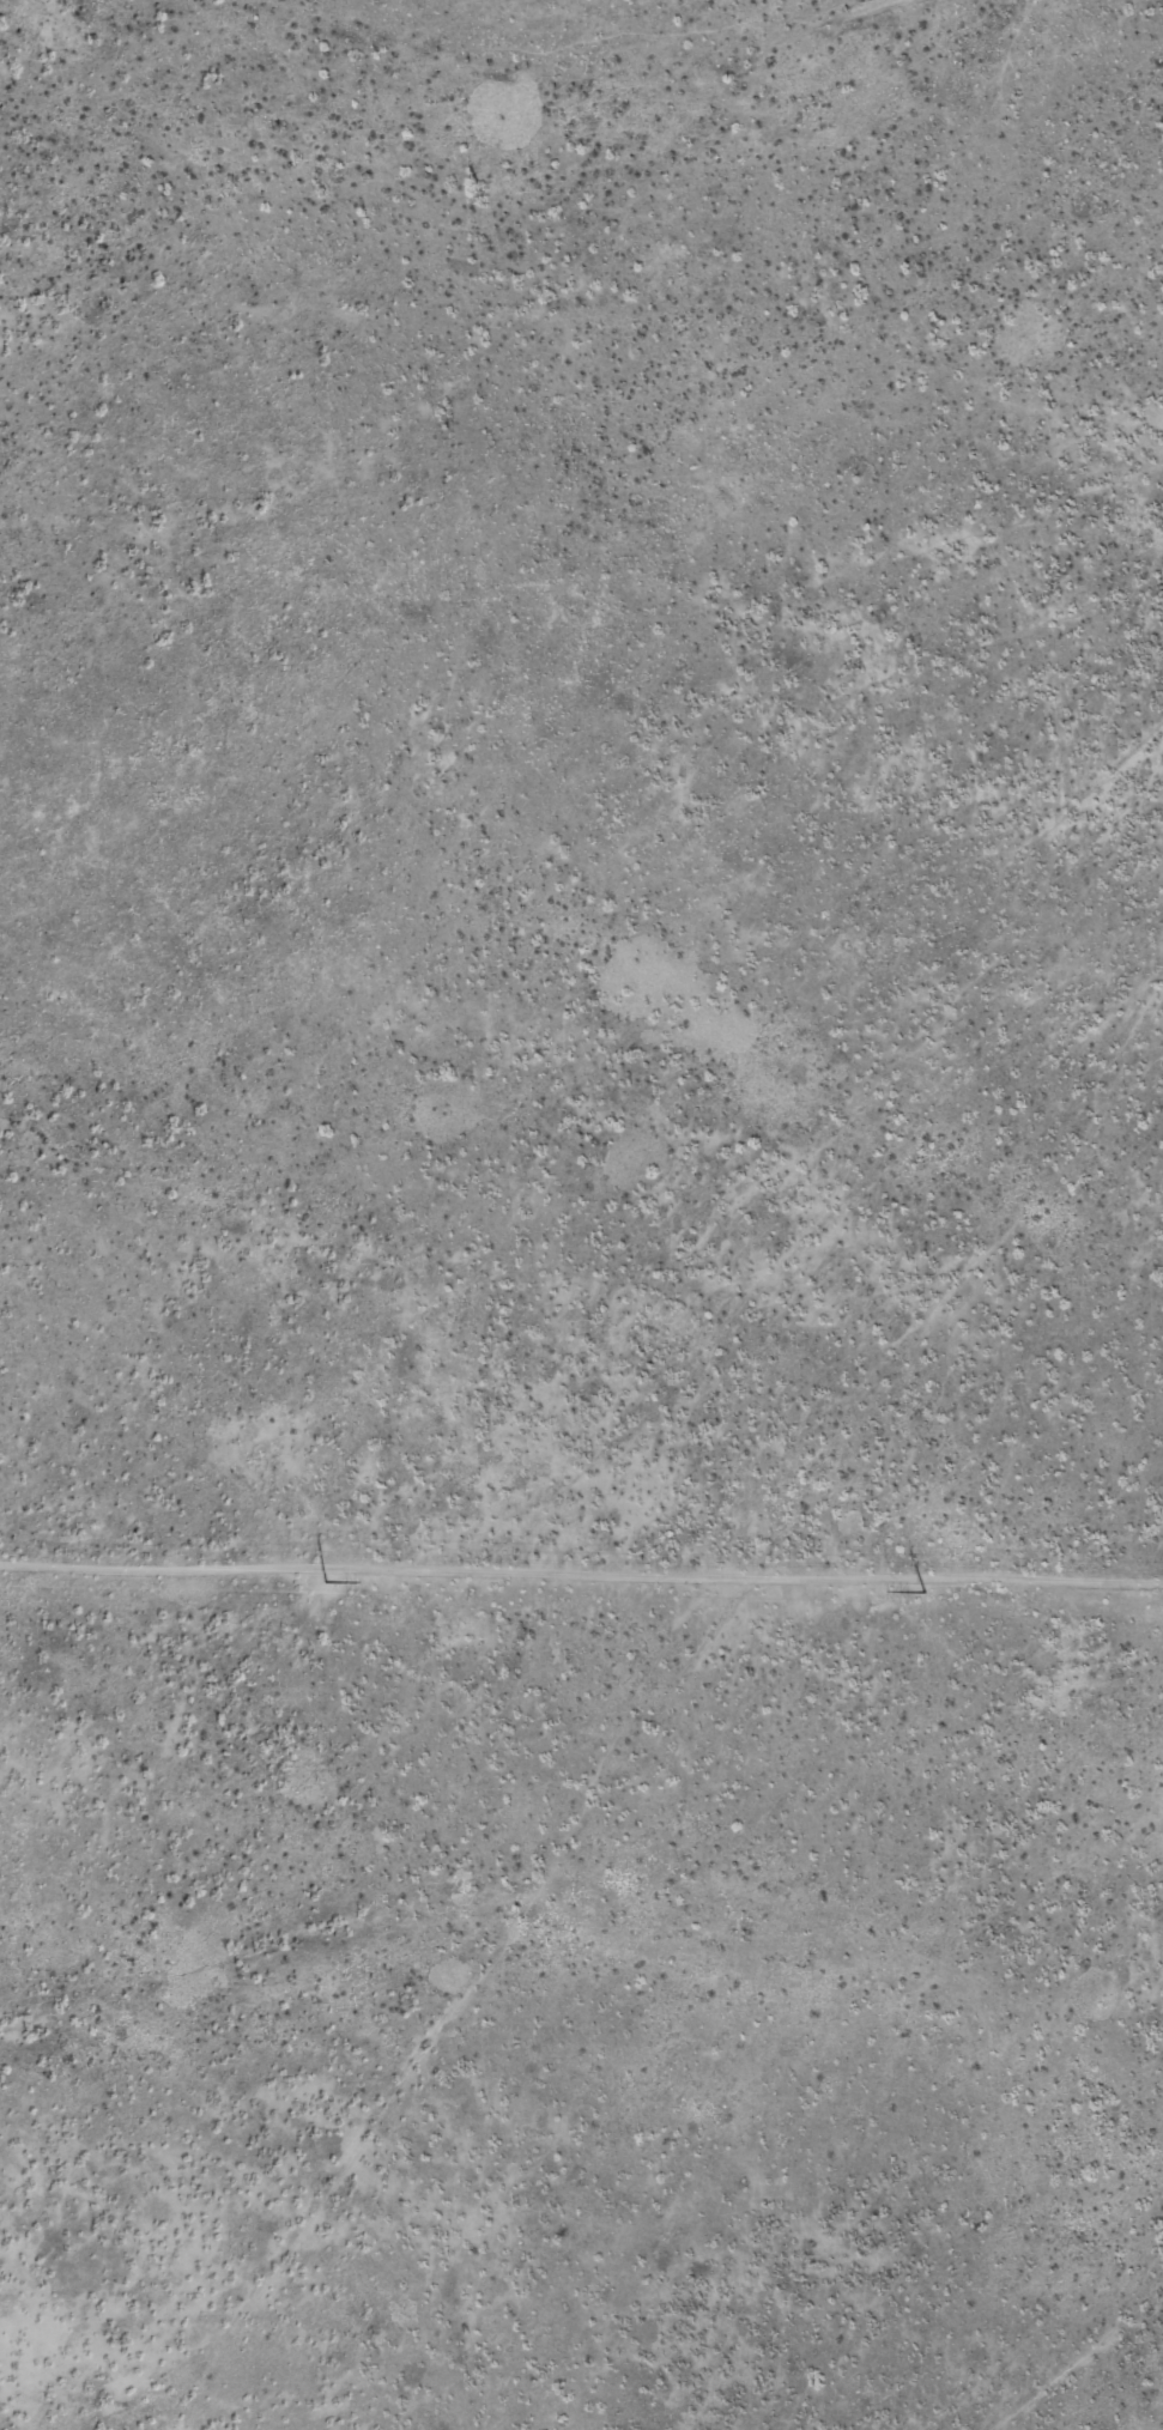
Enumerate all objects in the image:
power tower: (327, 1581)
power tower: (926, 1590)

